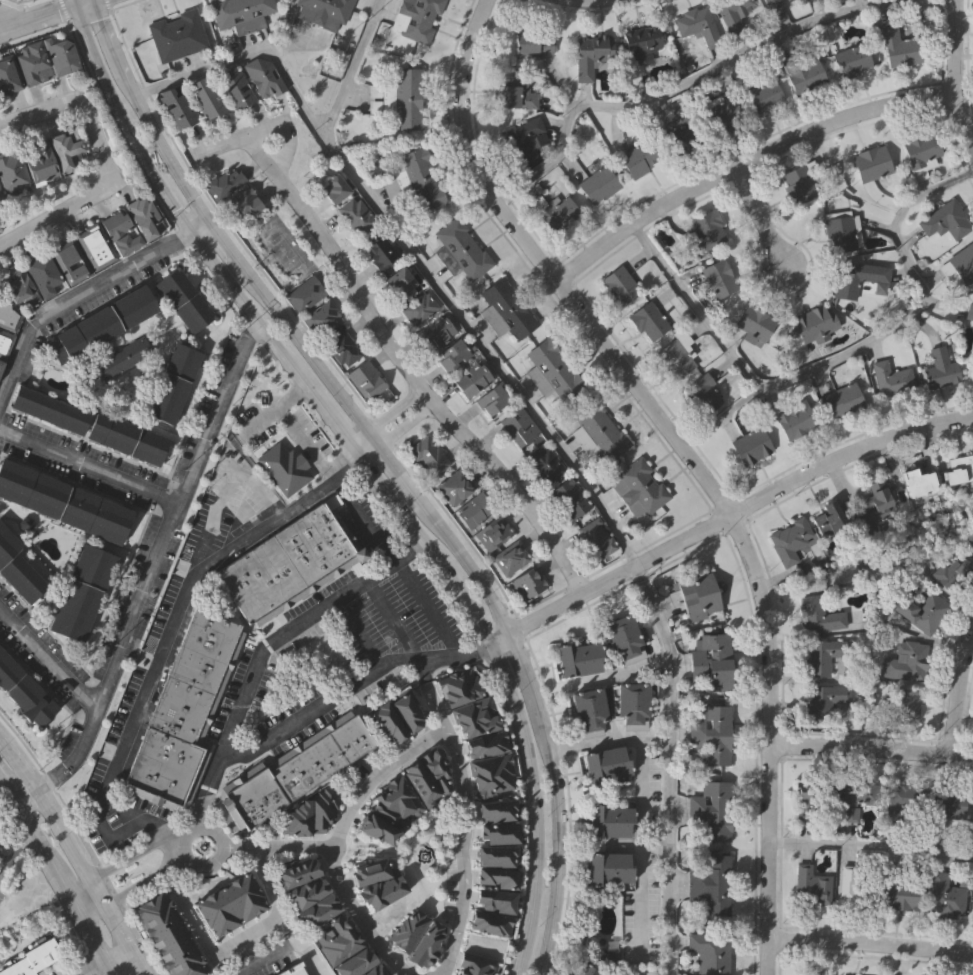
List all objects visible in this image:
building: (812, 0)
road: (11, 4)
road: (36, 5)
road: (69, 5)
road: (83, 5)
building: (772, 6)
building: (326, 10)
building: (733, 12)
road: (11, 13)
building: (242, 13)
road: (6, 18)
building: (416, 18)
road: (82, 19)
road: (35, 21)
building: (696, 27)
building: (179, 34)
road: (111, 38)
building: (531, 43)
building: (639, 44)
building: (897, 47)
building: (590, 54)
building: (60, 55)
building: (850, 59)
building: (34, 62)
road: (352, 69)
building: (802, 70)
road: (703, 72)
building: (9, 73)
building: (262, 76)
road: (956, 77)
road: (134, 85)
building: (234, 89)
building: (515, 94)
building: (402, 96)
building: (206, 97)
building: (762, 97)
building: (175, 107)
building: (722, 116)
building: (681, 138)
building: (522, 139)
building: (67, 147)
building: (920, 154)
building: (638, 159)
building: (42, 161)
building: (869, 163)
road: (746, 164)
road: (107, 165)
building: (13, 168)
building: (418, 178)
building: (224, 184)
building: (597, 184)
building: (797, 184)
building: (333, 189)
building: (1, 194)
building: (0, 199)
building: (245, 204)
building: (554, 209)
road: (179, 211)
building: (146, 215)
building: (356, 216)
road: (762, 219)
building: (944, 220)
building: (123, 230)
building: (705, 231)
building: (839, 233)
building: (97, 243)
building: (460, 249)
building: (380, 253)
building: (71, 258)
building: (959, 263)
road: (247, 266)
road: (232, 267)
building: (45, 272)
building: (854, 277)
building: (717, 278)
building: (397, 282)
building: (619, 285)
building: (19, 286)
building: (304, 294)
road: (74, 296)
building: (186, 299)
building: (418, 309)
building: (508, 310)
building: (969, 313)
building: (8, 315)
building: (322, 320)
building: (649, 322)
building: (753, 322)
building: (103, 323)
building: (811, 325)
building: (434, 334)
building: (5, 342)
road: (392, 342)
building: (343, 350)
building: (125, 356)
building: (451, 357)
building: (675, 357)
road: (835, 357)
building: (1, 363)
building: (939, 369)
building: (552, 370)
building: (471, 379)
building: (890, 380)
building: (366, 381)
building: (175, 383)
building: (703, 393)
building: (491, 400)
building: (842, 400)
building: (51, 409)
road: (387, 415)
road: (534, 417)
building: (793, 418)
road: (259, 420)
road: (337, 422)
road: (291, 425)
parking lot: (252, 426)
building: (518, 428)
road: (399, 430)
building: (599, 430)
parking lot: (311, 432)
building: (129, 436)
road: (377, 436)
building: (749, 446)
building: (428, 457)
road: (690, 458)
building: (545, 465)
road: (88, 467)
building: (284, 467)
building: (957, 471)
road: (404, 472)
road: (225, 485)
building: (640, 485)
building: (919, 485)
building: (454, 488)
building: (569, 499)
building: (64, 501)
building: (874, 505)
building: (473, 511)
road: (736, 511)
road: (363, 519)
building: (829, 520)
building: (493, 535)
building: (596, 539)
building: (789, 540)
building: (509, 558)
road: (471, 565)
building: (17, 568)
road: (149, 572)
building: (953, 574)
building: (528, 584)
building: (698, 593)
building: (79, 594)
road: (429, 610)
building: (246, 612)
building: (921, 613)
building: (818, 617)
road: (393, 621)
road: (297, 624)
road: (167, 626)
road: (358, 636)
building: (625, 637)
parking lot: (338, 638)
building: (581, 657)
building: (824, 657)
road: (49, 658)
building: (713, 662)
building: (906, 663)
road: (620, 674)
road: (530, 675)
parking lot: (138, 677)
building: (25, 690)
road: (510, 691)
road: (433, 695)
road: (958, 695)
road: (332, 699)
building: (632, 700)
building: (823, 702)
building: (905, 708)
building: (408, 709)
building: (591, 711)
building: (389, 721)
building: (713, 734)
road: (610, 739)
building: (488, 743)
road: (871, 747)
building: (607, 763)
building: (164, 769)
building: (436, 769)
building: (295, 770)
building: (493, 775)
building: (420, 780)
road: (639, 780)
building: (856, 799)
building: (396, 802)
building: (806, 806)
building: (903, 806)
building: (322, 808)
building: (945, 808)
building: (497, 809)
building: (712, 810)
building: (611, 820)
building: (376, 826)
building: (500, 831)
road: (85, 841)
road: (341, 842)
road: (218, 843)
road: (279, 844)
road: (637, 845)
road: (871, 845)
road: (559, 847)
road: (467, 851)
road: (78, 853)
road: (17, 854)
building: (499, 855)
road: (127, 858)
road: (2, 861)
park: (10, 862)
building: (611, 867)
building: (297, 870)
building: (370, 871)
road: (62, 876)
road: (157, 876)
building: (498, 876)
building: (712, 883)
building: (811, 888)
building: (856, 888)
building: (307, 892)
building: (900, 896)
building: (945, 897)
building: (497, 900)
road: (638, 902)
building: (227, 904)
road: (103, 906)
building: (319, 910)
building: (972, 910)
building: (492, 922)
road: (249, 932)
building: (167, 935)
building: (418, 935)
road: (871, 941)
road: (78, 943)
road: (288, 951)
building: (712, 952)
building: (32, 957)
road: (121, 964)
building: (354, 964)
building: (475, 965)
road: (97, 967)
building: (293, 969)
building: (376, 970)
building: (585, 970)
road: (638, 973)

